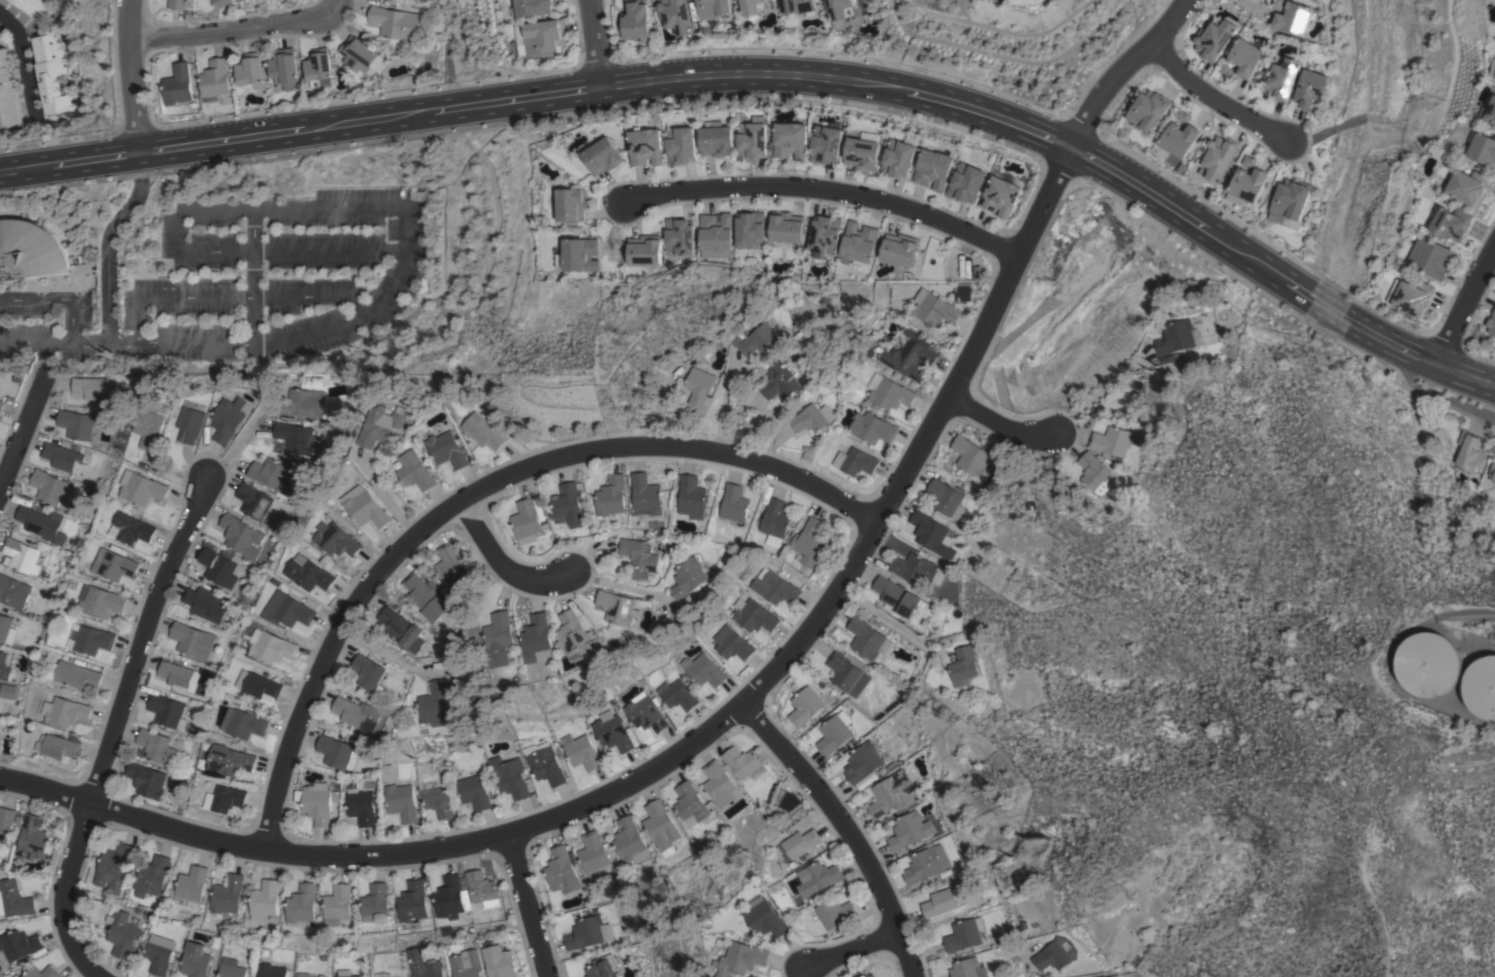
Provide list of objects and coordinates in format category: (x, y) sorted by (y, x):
building: (222, 2)
building: (176, 4)
building: (754, 6)
building: (798, 6)
building: (534, 7)
building: (36, 8)
building: (713, 8)
building: (841, 10)
building: (676, 16)
building: (1295, 18)
building: (636, 21)
building: (399, 23)
road: (240, 31)
building: (545, 36)
building: (1214, 39)
road: (593, 43)
building: (358, 54)
building: (1246, 57)
road: (24, 59)
building: (319, 68)
building: (284, 69)
building: (1493, 70)
building: (251, 71)
building: (52, 73)
road: (129, 75)
road: (781, 75)
building: (215, 79)
building: (1281, 80)
building: (178, 84)
building: (1311, 89)
building: (7, 94)
road: (1216, 100)
building: (1489, 107)
building: (1149, 110)
building: (1180, 138)
building: (716, 139)
building: (752, 139)
building: (790, 140)
building: (825, 144)
building: (681, 145)
building: (646, 146)
building: (1483, 148)
building: (863, 151)
building: (603, 155)
building: (899, 157)
building: (1218, 158)
building: (933, 169)
building: (966, 182)
building: (1247, 185)
building: (1468, 186)
road: (826, 189)
building: (1000, 196)
building: (1289, 200)
building: (571, 204)
road: (333, 208)
building: (1450, 223)
building: (786, 226)
building: (750, 230)
building: (716, 232)
building: (824, 235)
building: (679, 236)
road: (106, 242)
building: (859, 242)
building: (899, 249)
building: (29, 250)
building: (644, 250)
building: (578, 255)
building: (1430, 257)
parking lot: (277, 274)
road: (253, 275)
road: (233, 297)
building: (1413, 297)
road: (56, 299)
building: (933, 308)
road: (1465, 308)
parking lot: (46, 323)
building: (1491, 323)
building: (1178, 337)
building: (761, 340)
road: (22, 343)
road: (74, 343)
road: (122, 343)
building: (910, 355)
road: (44, 356)
building: (1167, 358)
road: (1405, 377)
building: (780, 381)
building: (700, 386)
building: (90, 387)
road: (1097, 390)
building: (888, 392)
building: (301, 401)
building: (1, 405)
road: (722, 405)
road: (1463, 405)
building: (811, 418)
building: (228, 419)
road: (22, 423)
building: (191, 423)
road: (997, 423)
building: (76, 424)
building: (383, 425)
building: (871, 428)
building: (151, 429)
building: (483, 431)
building: (295, 438)
building: (1112, 440)
road: (234, 445)
building: (446, 447)
road: (670, 449)
building: (1468, 451)
building: (63, 455)
building: (971, 456)
building: (858, 462)
building: (1492, 470)
building: (416, 471)
building: (1093, 472)
building: (270, 473)
building: (49, 488)
building: (143, 488)
building: (612, 495)
building: (646, 495)
building: (692, 495)
building: (946, 498)
building: (254, 501)
building: (735, 503)
building: (567, 506)
building: (366, 507)
building: (41, 521)
building: (527, 521)
building: (776, 521)
building: (134, 528)
building: (931, 534)
building: (241, 535)
building: (337, 539)
building: (810, 542)
building: (20, 554)
building: (640, 557)
road: (505, 561)
building: (115, 564)
building: (450, 566)
building: (219, 568)
building: (913, 568)
building: (309, 573)
building: (689, 577)
road: (621, 585)
building: (774, 587)
building: (14, 592)
building: (427, 597)
building: (898, 597)
building: (101, 601)
building: (205, 603)
building: (618, 607)
building: (290, 609)
road: (1474, 609)
building: (753, 615)
road: (881, 619)
building: (401, 629)
building: (7, 630)
building: (578, 635)
building: (501, 638)
building: (538, 638)
building: (90, 639)
building: (867, 639)
road: (139, 641)
building: (193, 641)
building: (272, 646)
building: (734, 646)
road: (327, 653)
building: (963, 664)
building: (1427, 664)
building: (4, 668)
building: (367, 671)
building: (705, 671)
building: (847, 674)
building: (77, 675)
building: (178, 675)
building: (259, 684)
road: (756, 685)
building: (1481, 686)
building: (7, 691)
building: (677, 694)
building: (434, 702)
building: (805, 706)
building: (167, 711)
building: (66, 712)
building: (356, 713)
building: (644, 713)
building: (244, 723)
building: (612, 731)
building: (833, 734)
building: (156, 746)
building: (60, 747)
building: (335, 751)
building: (581, 751)
building: (229, 760)
building: (744, 763)
building: (863, 764)
building: (545, 765)
building: (510, 777)
building: (146, 780)
building: (717, 781)
building: (474, 792)
building: (892, 793)
building: (224, 798)
building: (437, 799)
building: (401, 802)
building: (690, 803)
building: (360, 804)
building: (317, 805)
building: (5, 822)
building: (660, 825)
road: (844, 827)
building: (909, 830)
building: (32, 839)
building: (629, 841)
building: (801, 842)
building: (593, 853)
building: (926, 864)
building: (114, 868)
building: (561, 870)
building: (152, 875)
building: (821, 875)
building: (191, 883)
building: (480, 886)
road: (65, 893)
building: (227, 894)
building: (451, 897)
building: (13, 900)
building: (264, 900)
building: (412, 901)
building: (941, 901)
building: (375, 903)
building: (337, 904)
building: (301, 905)
road: (524, 905)
building: (836, 912)
building: (768, 919)
building: (588, 932)
building: (122, 933)
building: (963, 935)
building: (17, 945)
road: (851, 953)
building: (1051, 956)
building: (158, 957)
building: (744, 959)
building: (196, 960)
building: (499, 961)
building: (468, 964)
building: (435, 965)
building: (602, 967)
building: (232, 968)
building: (968, 968)
building: (273, 970)
building: (42, 972)
building: (348, 973)
building: (305, 974)
building: (385, 974)
building: (322, 975)
building: (15, 976)
building: (868, 976)

